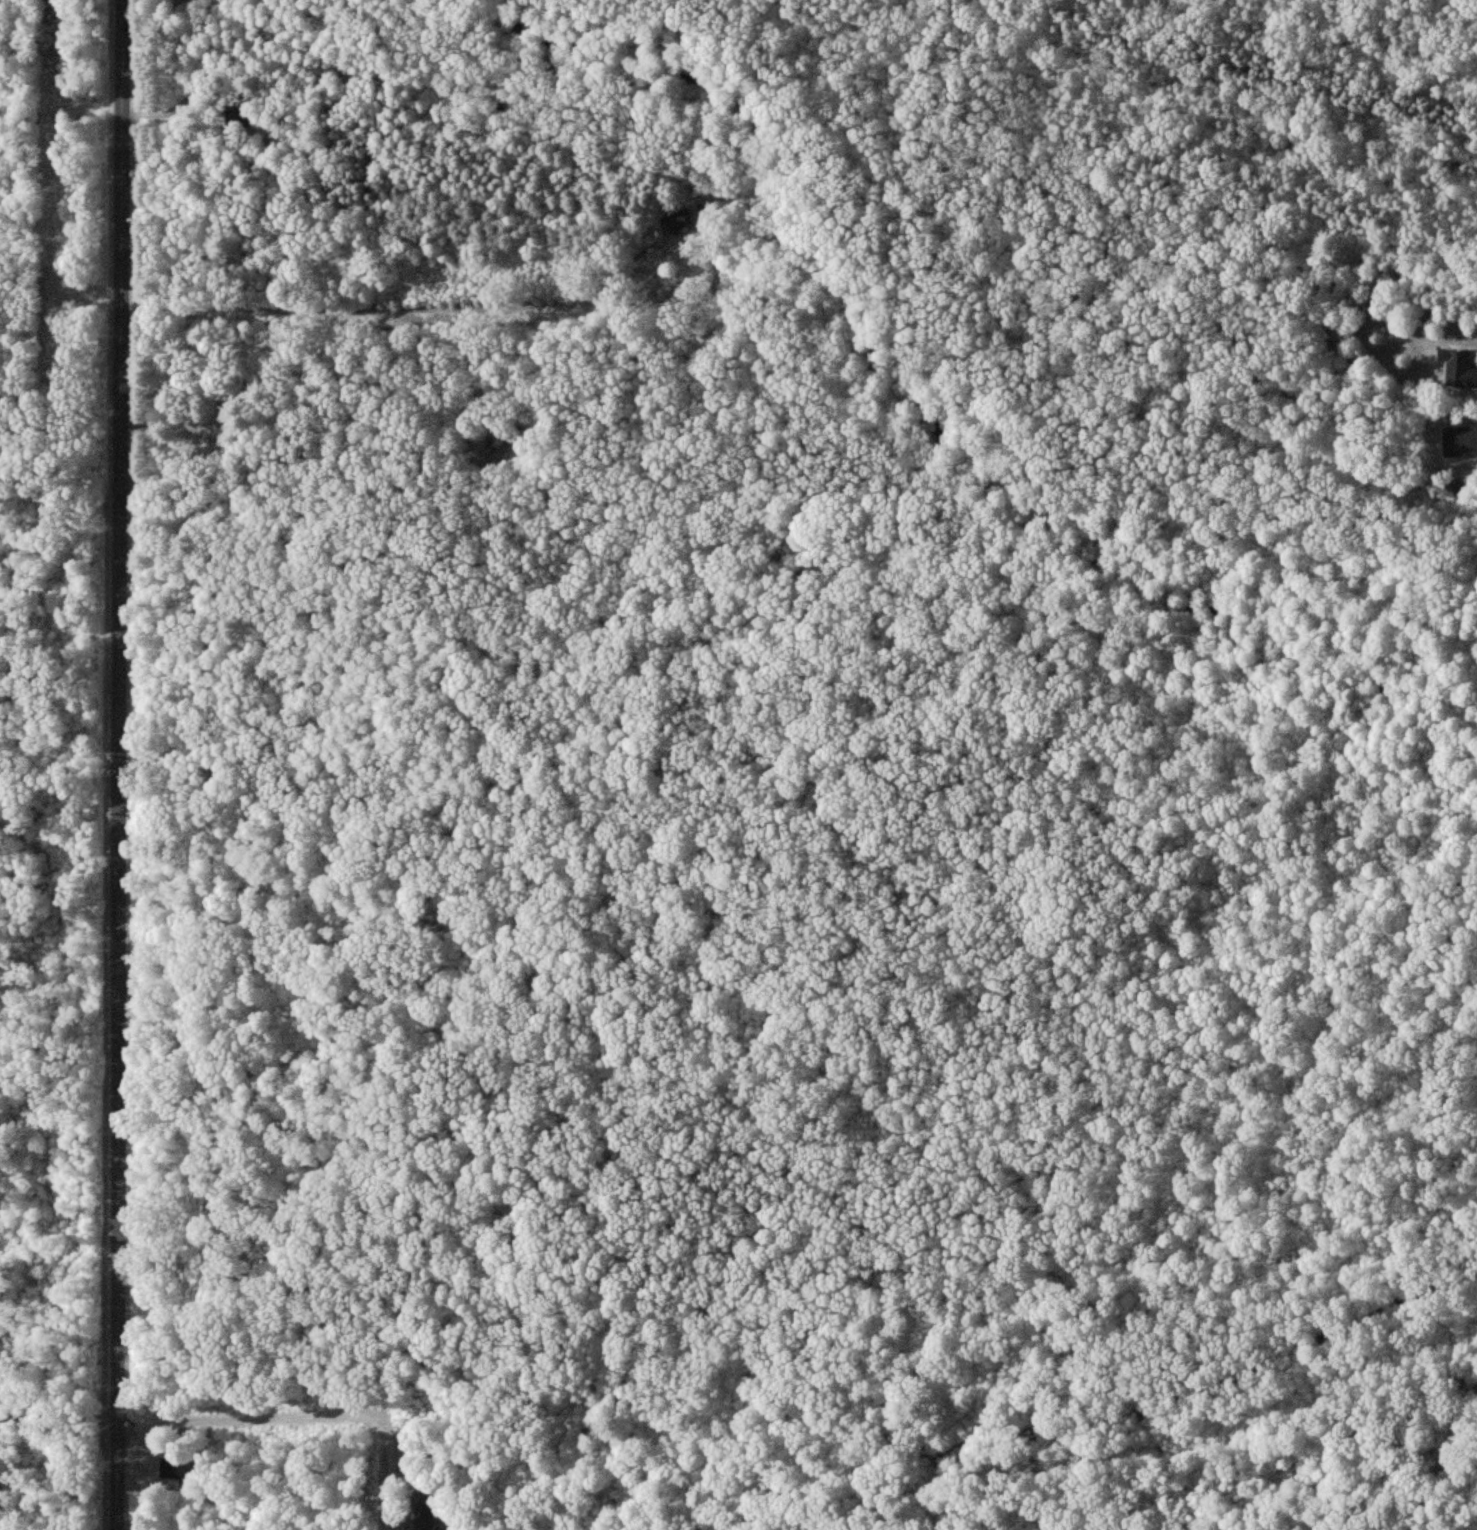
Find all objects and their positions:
building: (680, 222)
building: (1458, 367)
building: (1460, 440)
road: (124, 765)
road: (1112, 1410)
road: (307, 1414)
building: (173, 1468)
building: (425, 1516)

